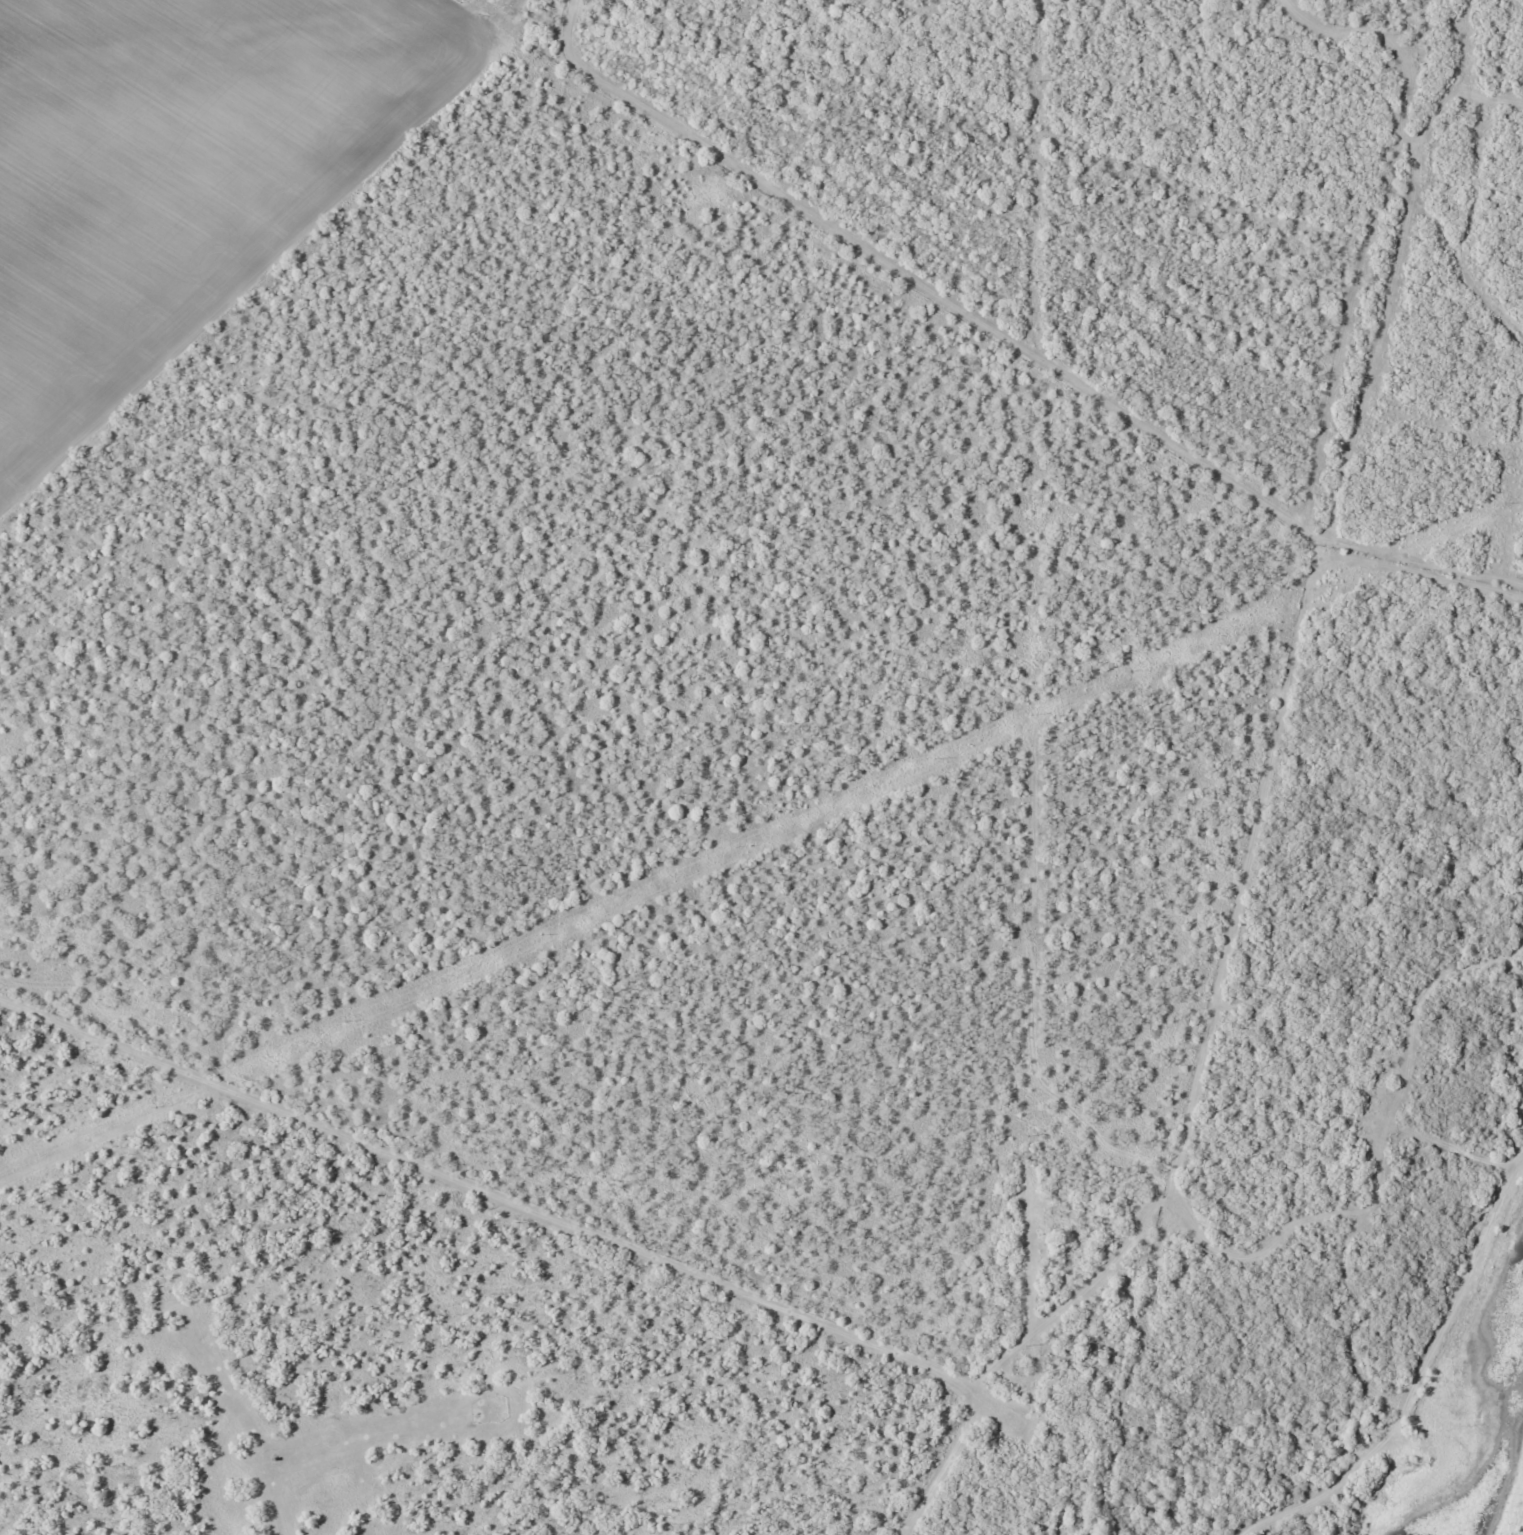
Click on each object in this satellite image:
road: (1446, 1387)

